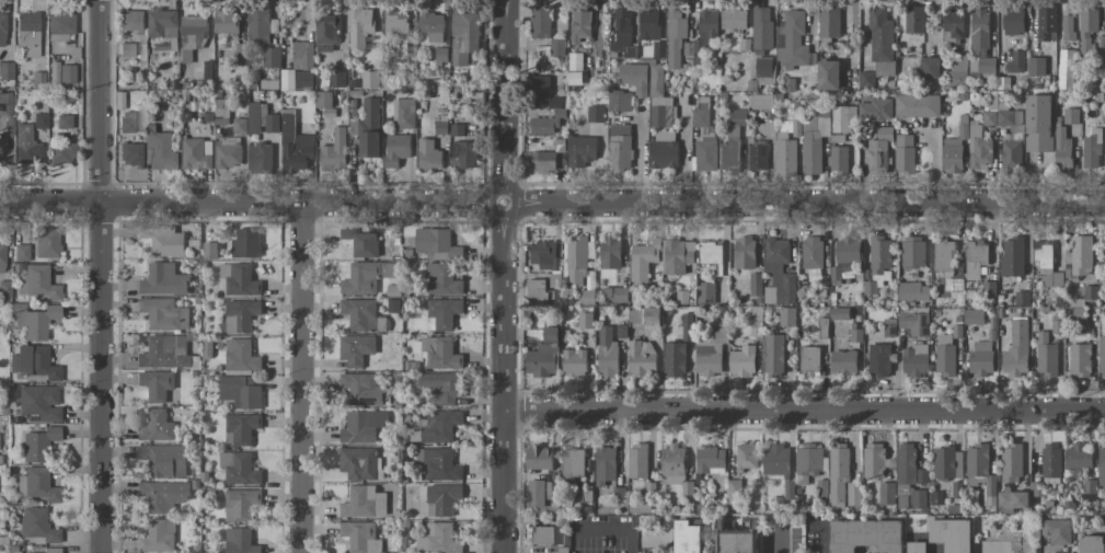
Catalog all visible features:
building: (734, 19)
building: (914, 19)
building: (131, 20)
building: (226, 21)
building: (395, 22)
building: (540, 22)
building: (1013, 22)
building: (162, 23)
building: (829, 23)
building: (1046, 23)
building: (649, 24)
building: (953, 24)
building: (258, 25)
building: (580, 25)
building: (59, 26)
building: (359, 26)
building: (431, 26)
building: (762, 27)
building: (1068, 27)
building: (1087, 27)
building: (2, 30)
building: (193, 31)
building: (325, 32)
building: (703, 33)
building: (27, 35)
building: (622, 35)
building: (880, 35)
building: (463, 37)
building: (675, 37)
building: (793, 41)
building: (980, 43)
building: (171, 44)
building: (556, 47)
building: (658, 49)
building: (302, 55)
building: (441, 55)
building: (272, 57)
building: (575, 61)
building: (1015, 61)
building: (1036, 66)
building: (763, 67)
building: (930, 67)
building: (957, 69)
building: (1066, 69)
building: (5, 70)
building: (61, 73)
building: (828, 74)
building: (634, 78)
building: (297, 79)
building: (336, 79)
building: (370, 79)
building: (36, 81)
building: (540, 88)
building: (323, 100)
building: (659, 100)
building: (619, 101)
building: (761, 101)
building: (5, 104)
building: (918, 105)
building: (877, 110)
building: (404, 113)
building: (701, 113)
building: (595, 114)
building: (1002, 115)
building: (1071, 115)
building: (738, 117)
building: (841, 117)
building: (262, 119)
building: (39, 120)
building: (62, 122)
building: (126, 122)
building: (1038, 123)
building: (240, 125)
building: (543, 125)
building: (369, 128)
building: (295, 145)
building: (25, 146)
building: (620, 147)
building: (1062, 147)
building: (161, 149)
building: (396, 149)
building: (664, 149)
building: (786, 149)
building: (1092, 149)
building: (954, 150)
building: (334, 151)
building: (582, 151)
building: (812, 151)
building: (60, 152)
building: (229, 152)
road: (686, 152)
building: (705, 152)
building: (979, 152)
building: (196, 153)
building: (905, 153)
building: (131, 154)
building: (429, 154)
building: (464, 154)
building: (729, 154)
building: (757, 154)
building: (1011, 154)
road: (640, 155)
building: (878, 157)
building: (260, 158)
building: (838, 159)
building: (543, 161)
road: (552, 203)
building: (166, 241)
building: (46, 242)
building: (361, 242)
building: (245, 243)
building: (436, 243)
building: (848, 250)
building: (912, 251)
building: (209, 252)
building: (610, 252)
building: (812, 252)
building: (21, 253)
building: (710, 253)
building: (744, 253)
building: (2, 255)
building: (544, 255)
building: (678, 255)
building: (1043, 255)
building: (1080, 255)
building: (943, 256)
building: (976, 257)
building: (1012, 257)
building: (643, 260)
building: (576, 263)
building: (878, 264)
building: (779, 272)
road: (97, 276)
road: (505, 276)
building: (366, 277)
building: (163, 279)
building: (239, 279)
building: (442, 279)
building: (36, 284)
building: (756, 284)
building: (3, 286)
building: (537, 288)
building: (913, 291)
building: (705, 292)
building: (620, 295)
building: (1021, 298)
building: (164, 313)
building: (442, 313)
building: (839, 313)
building: (362, 314)
building: (241, 315)
building: (787, 316)
building: (974, 316)
building: (652, 318)
building: (585, 320)
building: (34, 321)
building: (914, 323)
building: (687, 326)
building: (856, 335)
building: (1016, 348)
building: (356, 349)
building: (165, 352)
building: (440, 353)
building: (607, 353)
building: (711, 353)
building: (774, 353)
building: (241, 355)
building: (544, 355)
building: (945, 355)
building: (1102, 356)
building: (641, 358)
building: (809, 358)
building: (981, 358)
building: (1047, 358)
building: (674, 359)
building: (879, 359)
building: (1080, 359)
building: (914, 360)
building: (574, 361)
building: (743, 361)
building: (843, 361)
building: (33, 362)
road: (301, 378)
building: (157, 384)
building: (442, 387)
building: (362, 389)
building: (240, 391)
building: (38, 403)
road: (805, 413)
building: (157, 426)
building: (362, 426)
building: (437, 426)
building: (240, 428)
building: (38, 443)
building: (1078, 456)
building: (746, 457)
building: (539, 458)
building: (162, 460)
building: (710, 460)
building: (775, 460)
building: (1051, 460)
building: (637, 461)
building: (573, 462)
building: (808, 462)
building: (1011, 462)
building: (360, 463)
building: (947, 463)
building: (437, 464)
building: (605, 464)
building: (672, 464)
building: (909, 465)
building: (1102, 466)
building: (239, 469)
building: (981, 471)
building: (841, 479)
building: (36, 485)
building: (1089, 488)
building: (789, 489)
building: (821, 489)
building: (551, 491)
building: (734, 493)
building: (887, 493)
building: (163, 495)
building: (536, 495)
building: (902, 495)
building: (918, 498)
building: (1012, 499)
building: (440, 500)
building: (364, 503)
building: (240, 504)
building: (37, 525)
building: (1057, 531)
building: (951, 533)
building: (548, 534)
building: (158, 537)
building: (360, 537)
building: (866, 537)
building: (687, 538)
building: (438, 539)
building: (739, 540)
road: (822, 540)
building: (240, 541)
road: (629, 543)
road: (779, 543)
building: (1092, 544)
building: (917, 546)
building: (50, 550)
building: (1056, 552)

